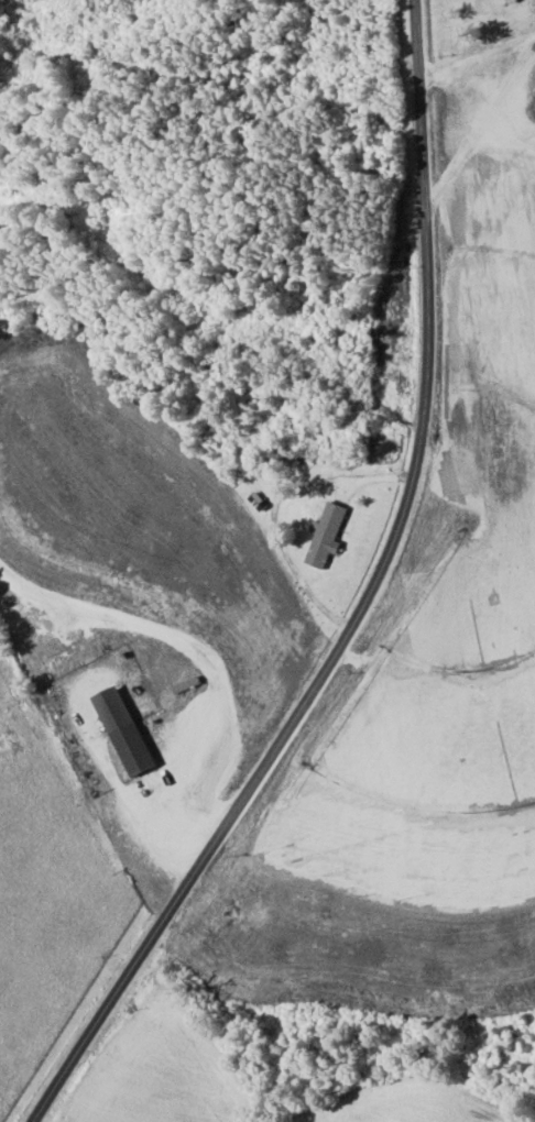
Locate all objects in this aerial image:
building: (327, 535)
road: (361, 604)
building: (127, 732)

